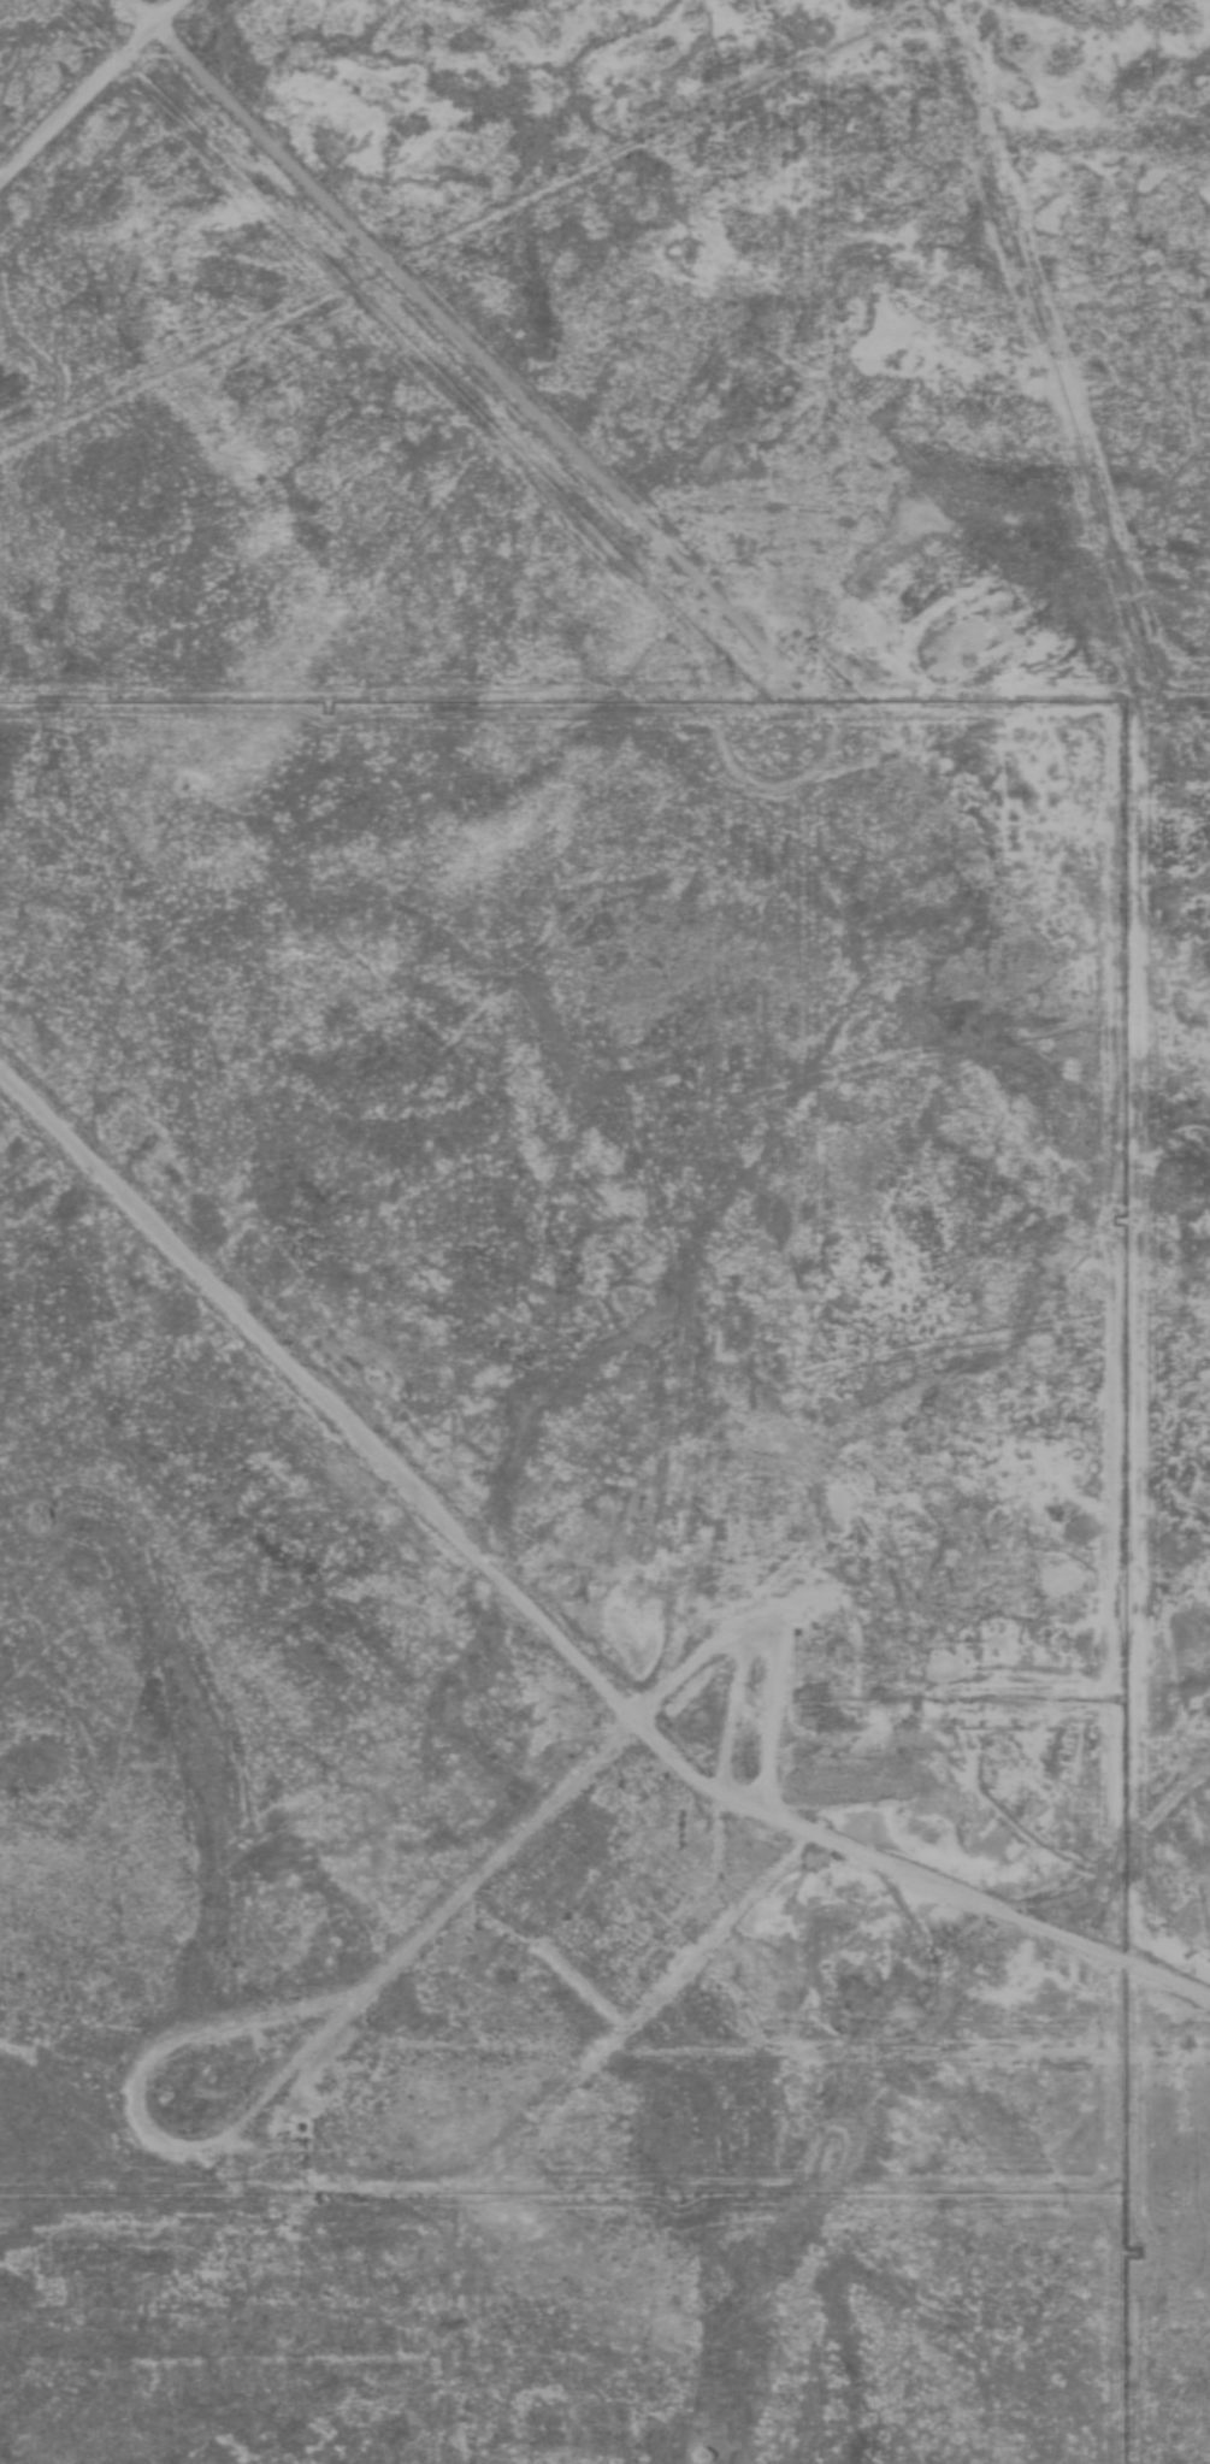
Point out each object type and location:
road: (89, 84)
road: (408, 302)
road: (958, 1505)
road: (560, 1634)
road: (601, 1752)
road: (259, 2016)

